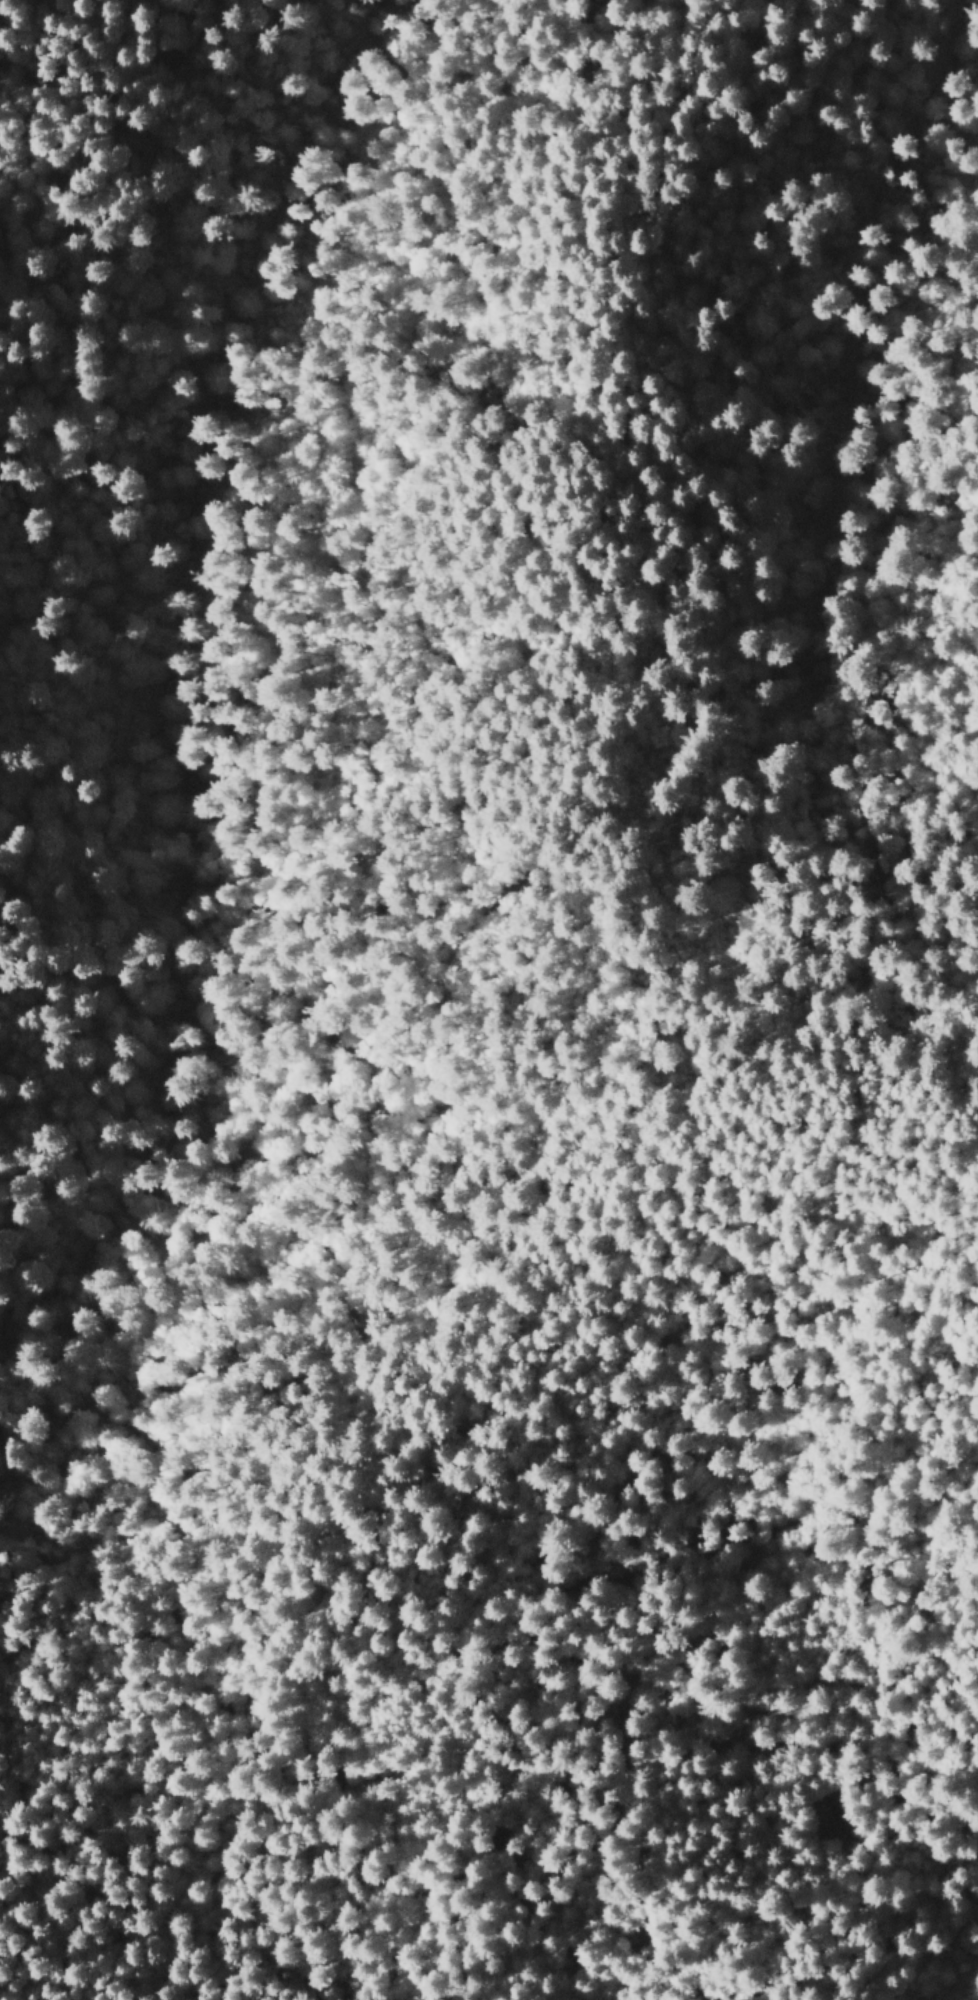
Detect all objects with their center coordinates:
road: (493, 1359)

